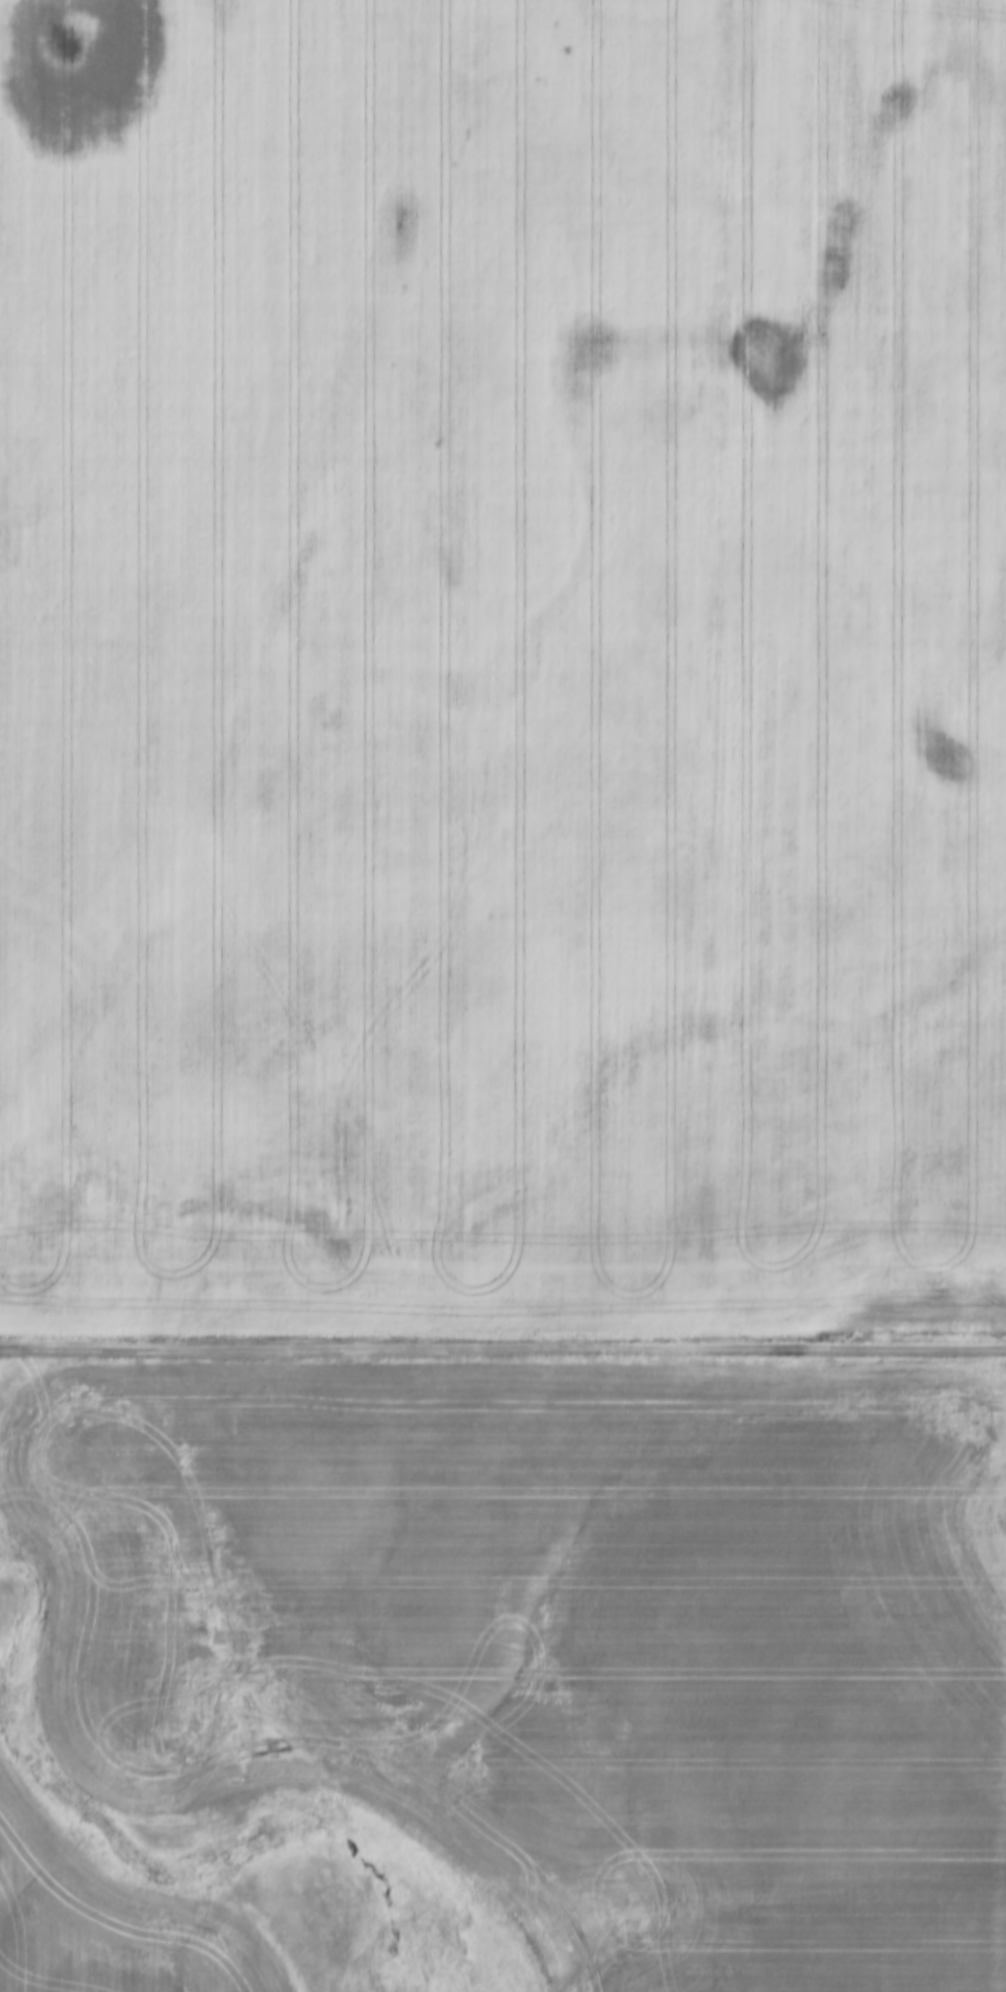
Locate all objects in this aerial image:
road: (503, 1351)

